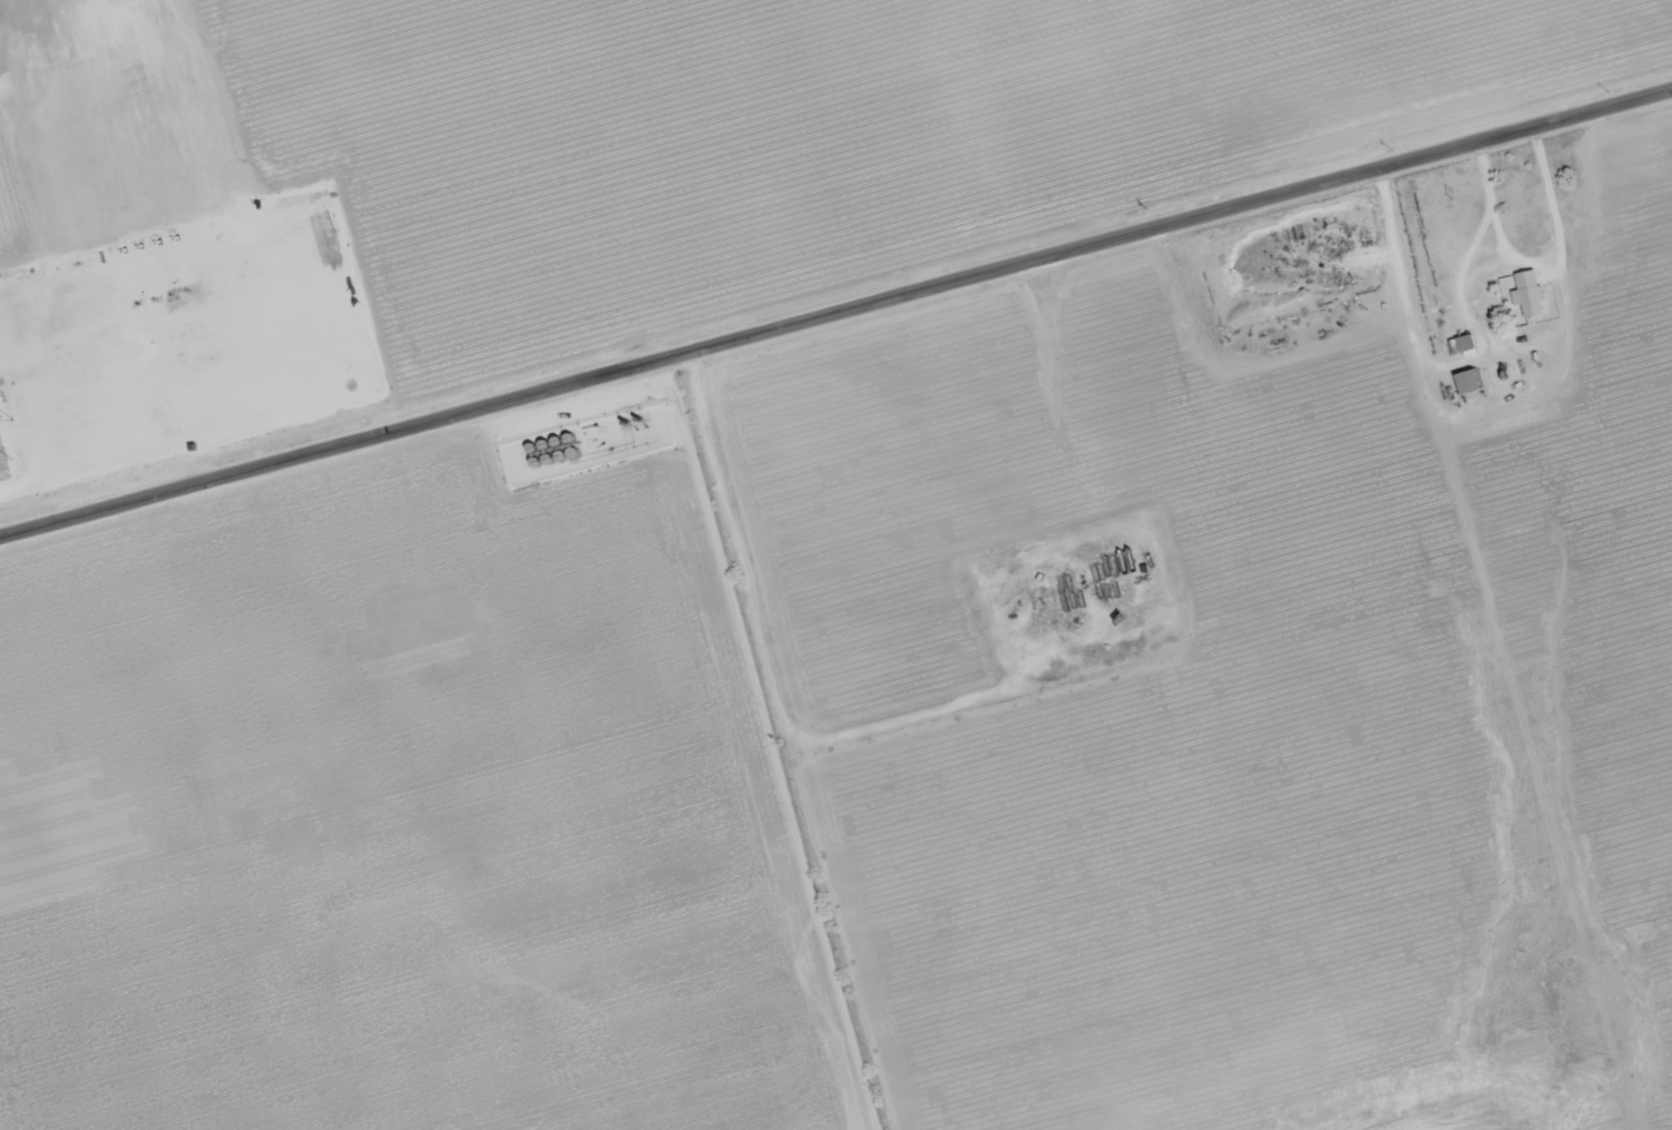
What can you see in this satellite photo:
building: (1528, 294)
road: (835, 309)
building: (1464, 345)
building: (1467, 382)
road: (70, 475)

